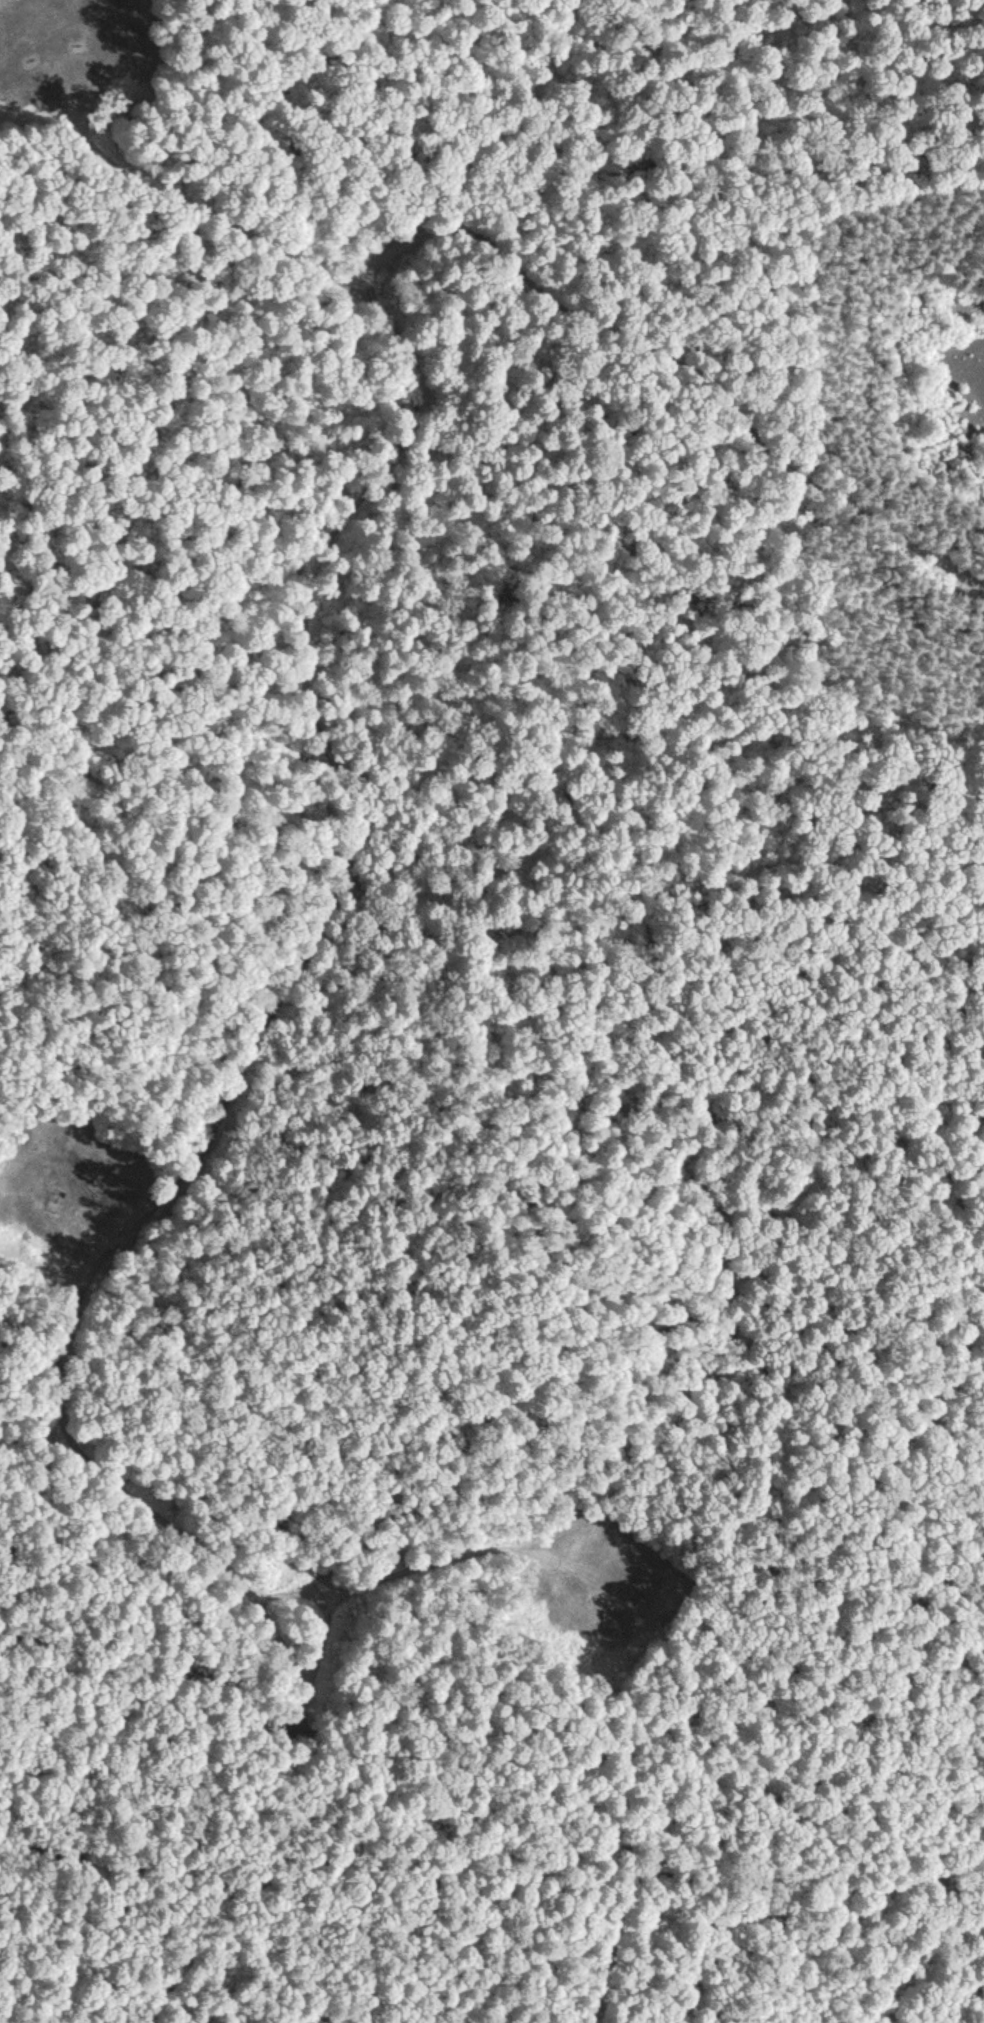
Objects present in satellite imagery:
road: (807, 42)
road: (803, 290)
road: (903, 546)
road: (488, 1824)

